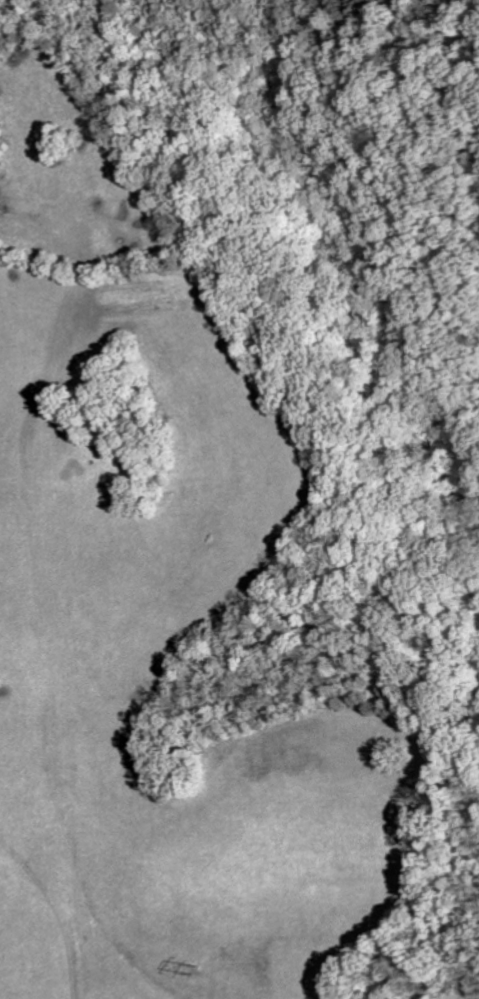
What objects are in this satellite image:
power tower: (190, 967)

